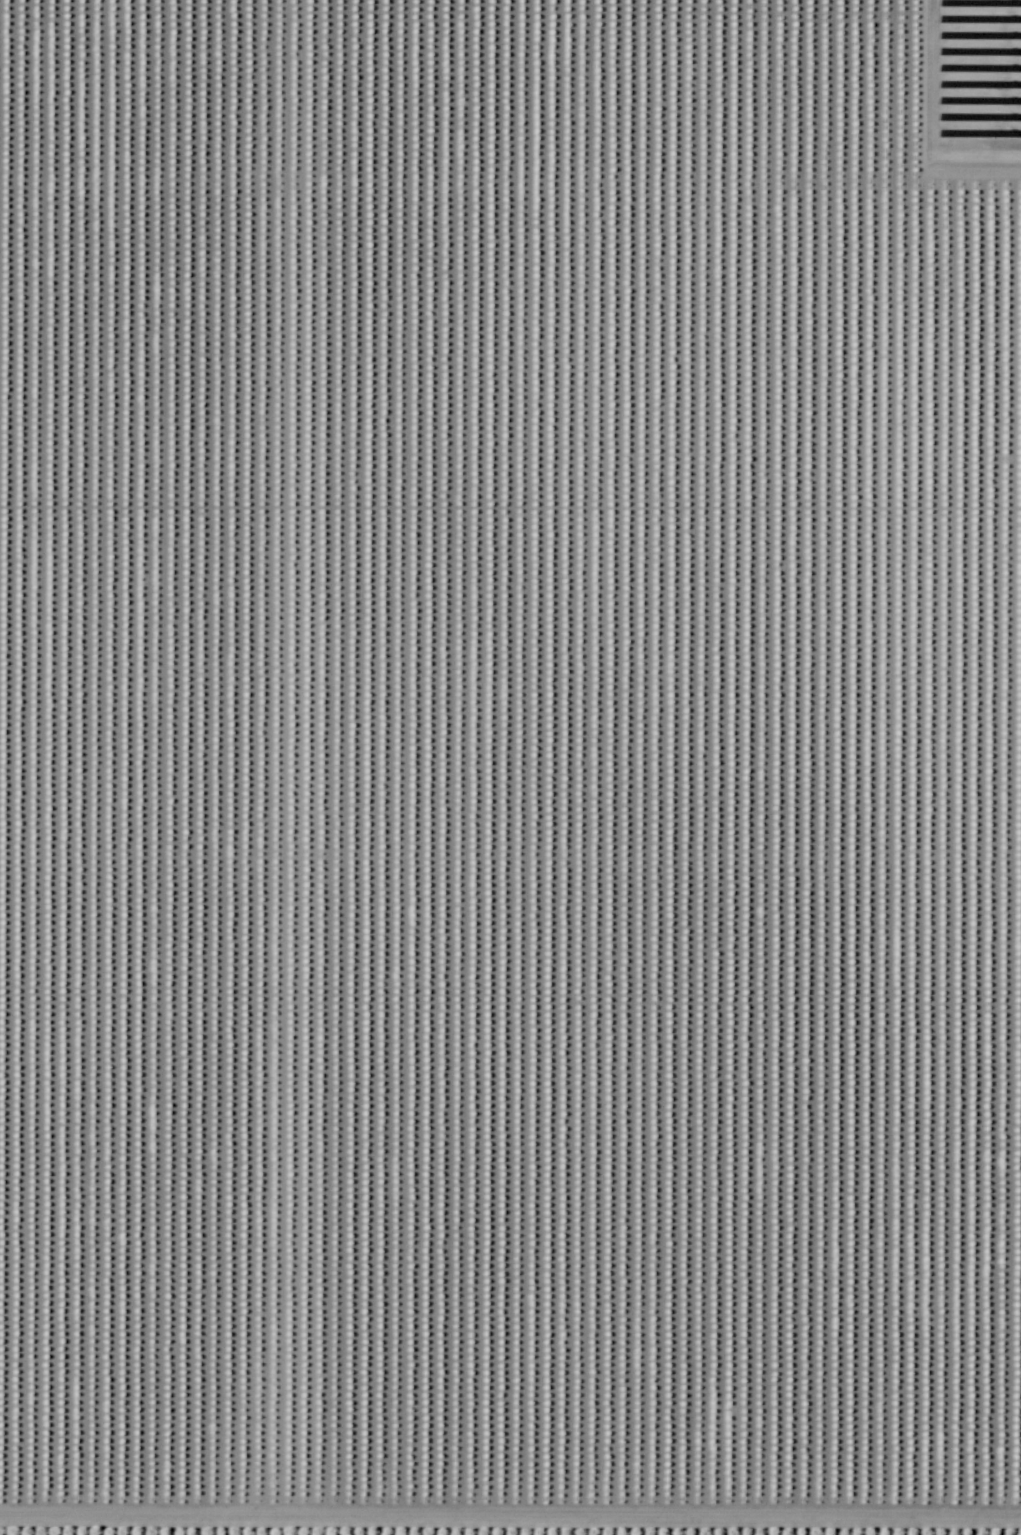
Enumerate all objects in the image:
crop: (510, 767)

